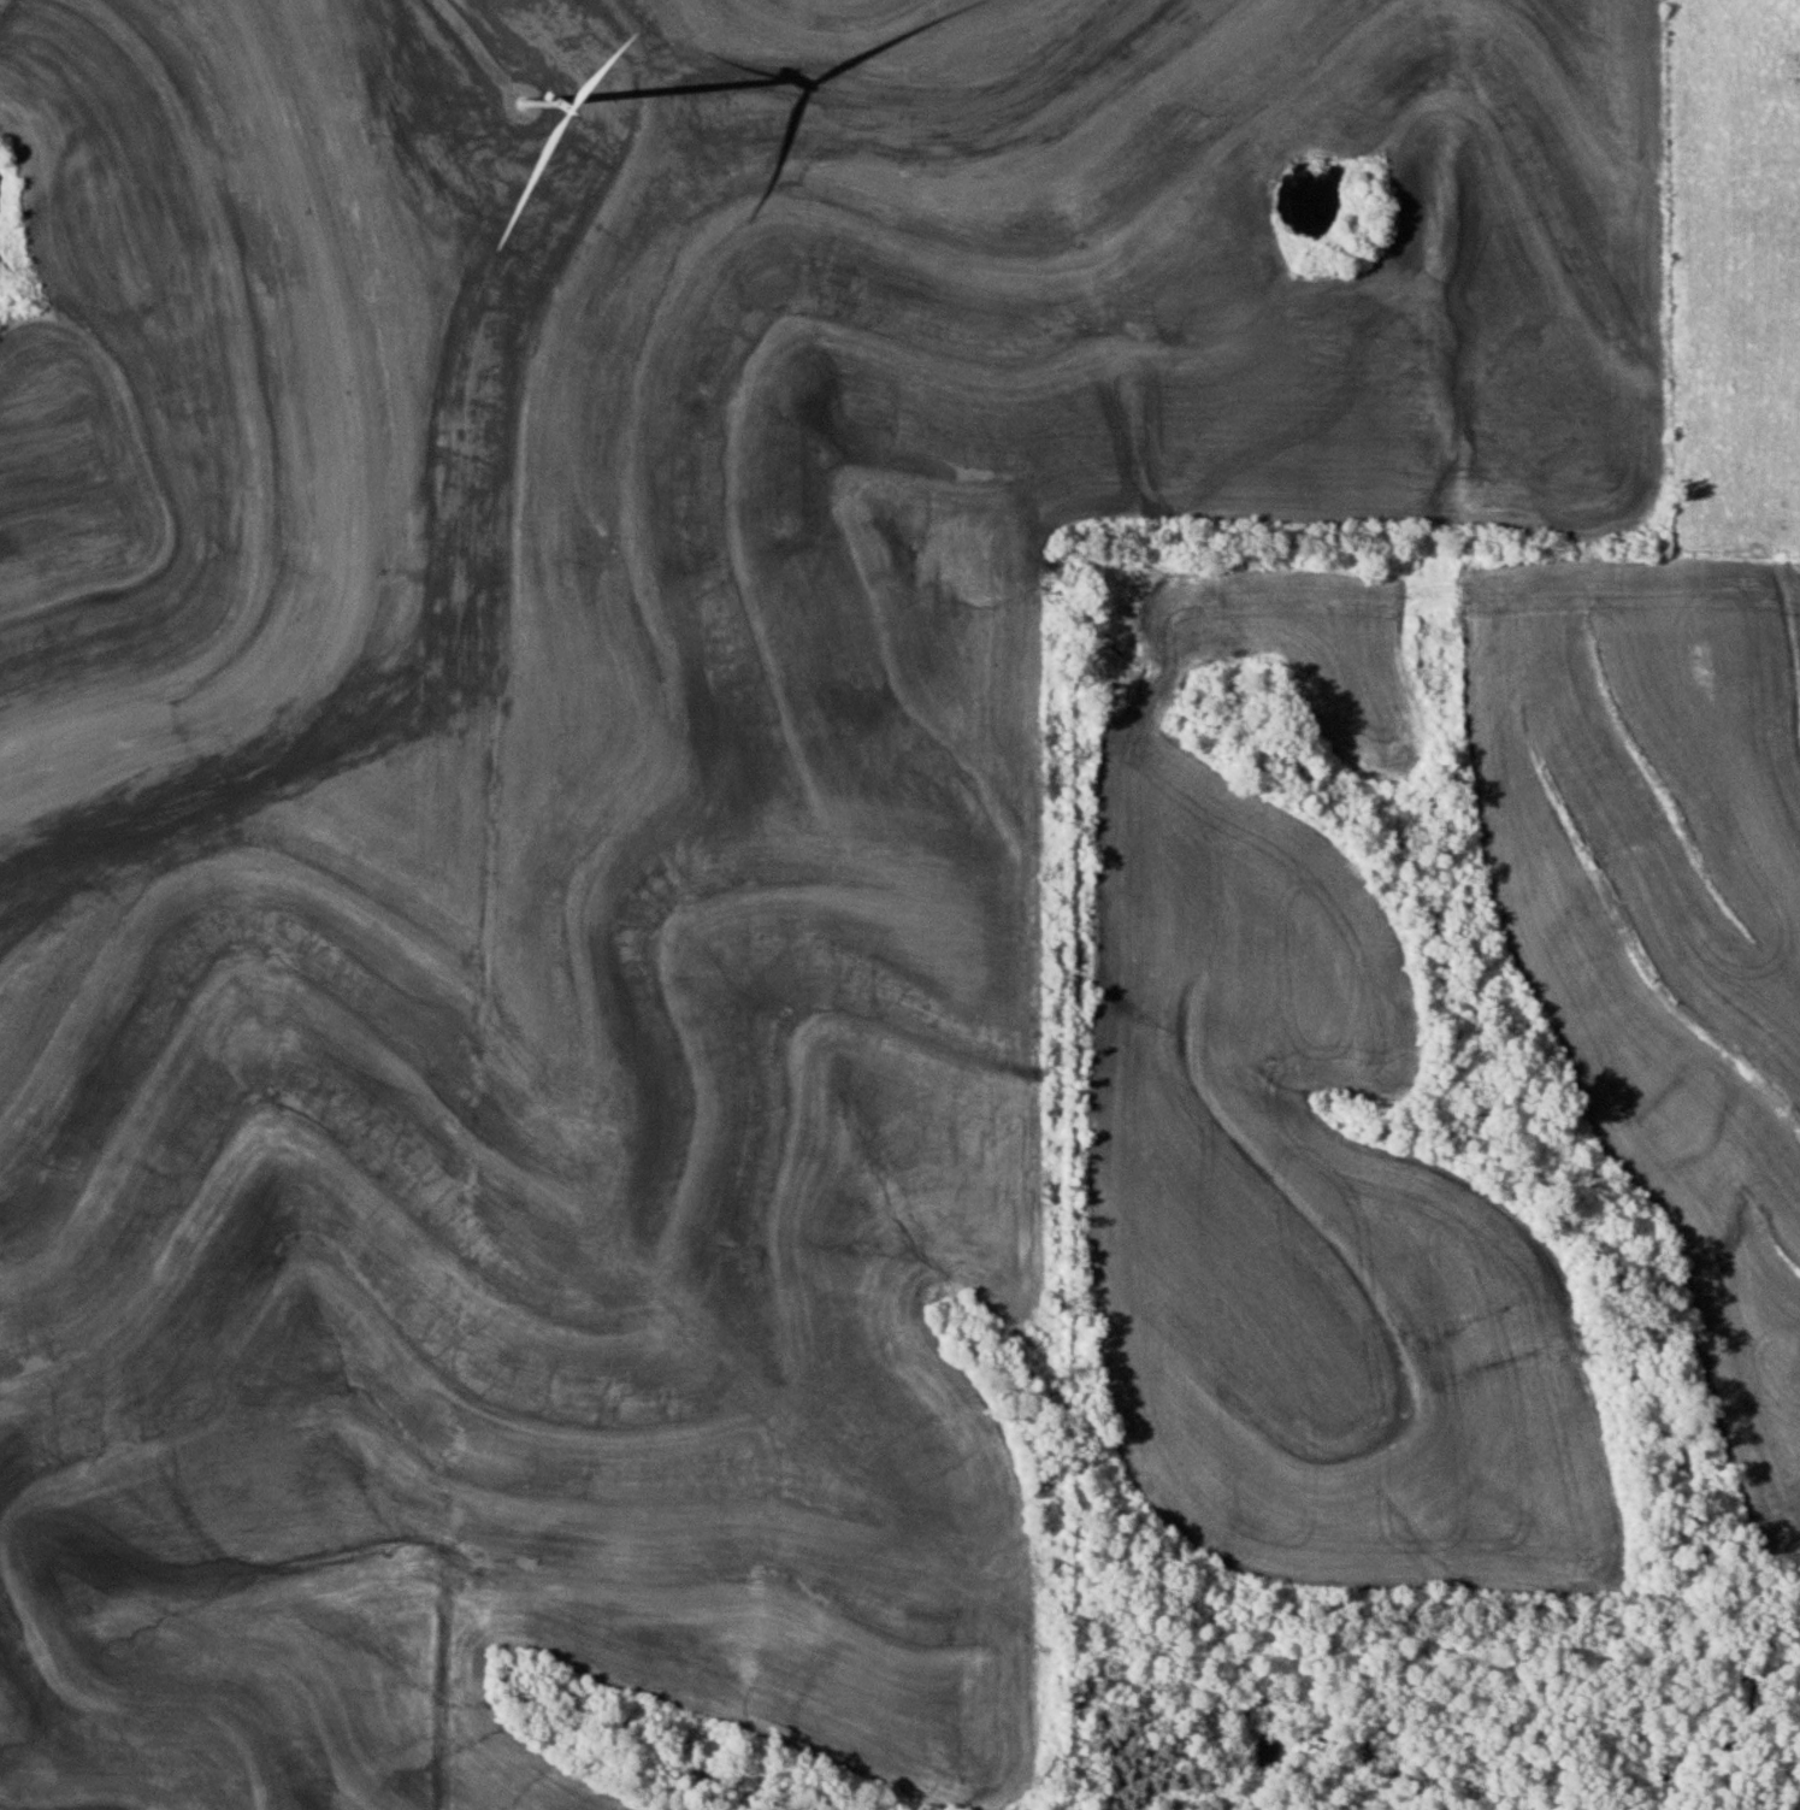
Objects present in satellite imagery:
wind turbine: (527, 105)

